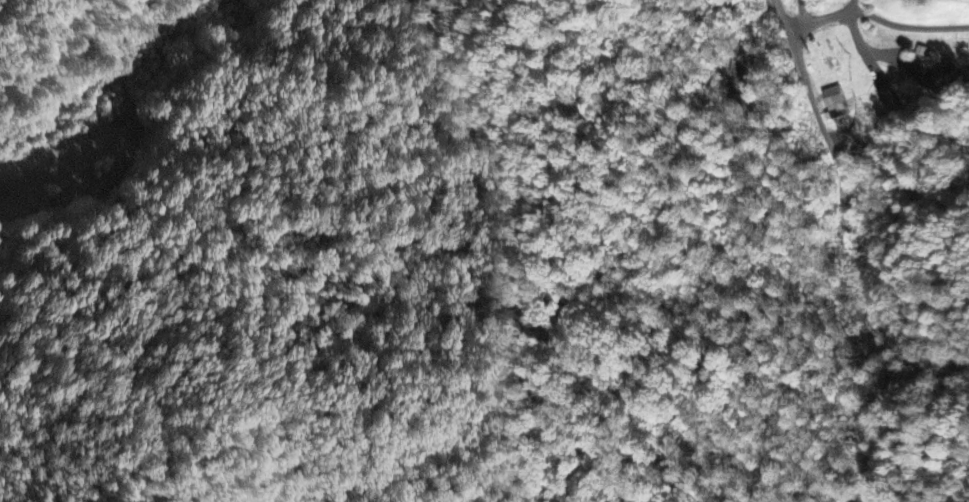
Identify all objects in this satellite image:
building: (843, 0)
road: (851, 5)
road: (875, 17)
building: (738, 74)
building: (942, 80)
building: (886, 96)
building: (832, 105)
road: (813, 108)
road: (875, 491)

